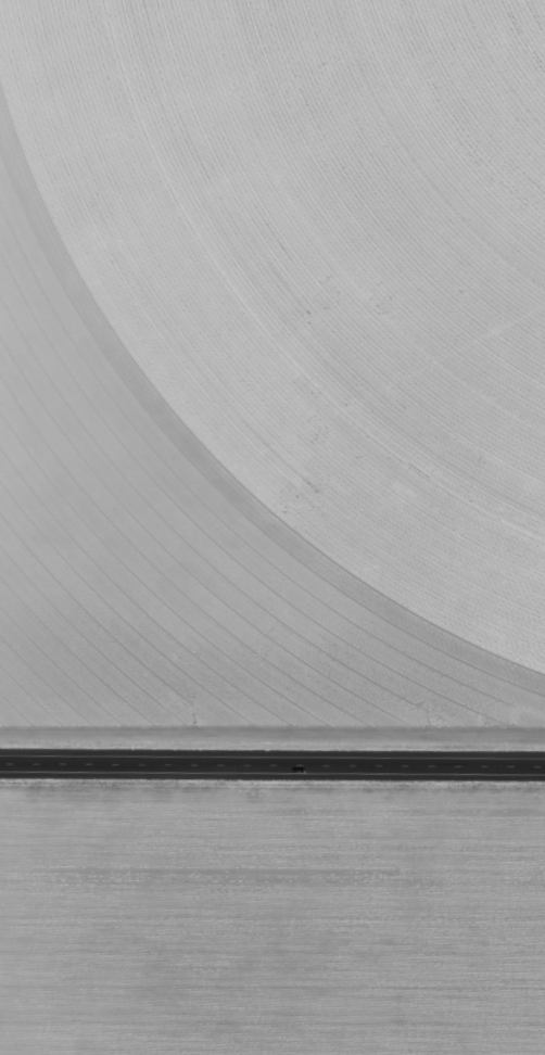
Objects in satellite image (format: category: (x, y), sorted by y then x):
road: (272, 781)

